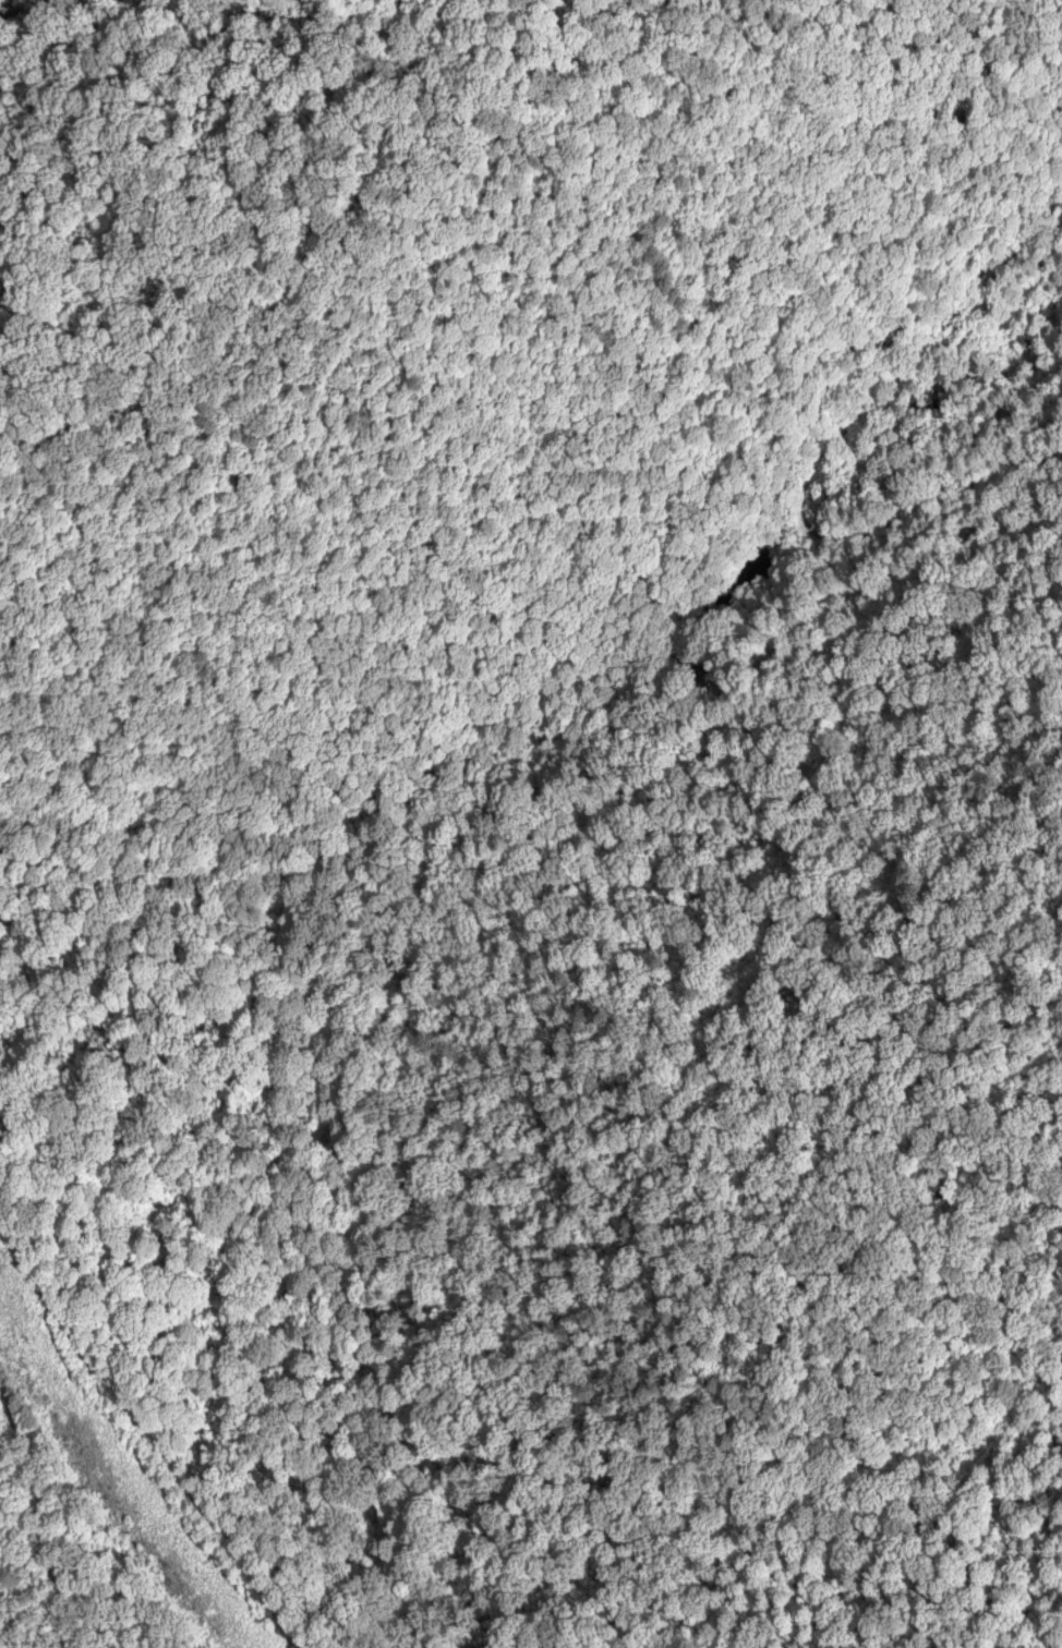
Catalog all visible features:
road: (821, 462)

